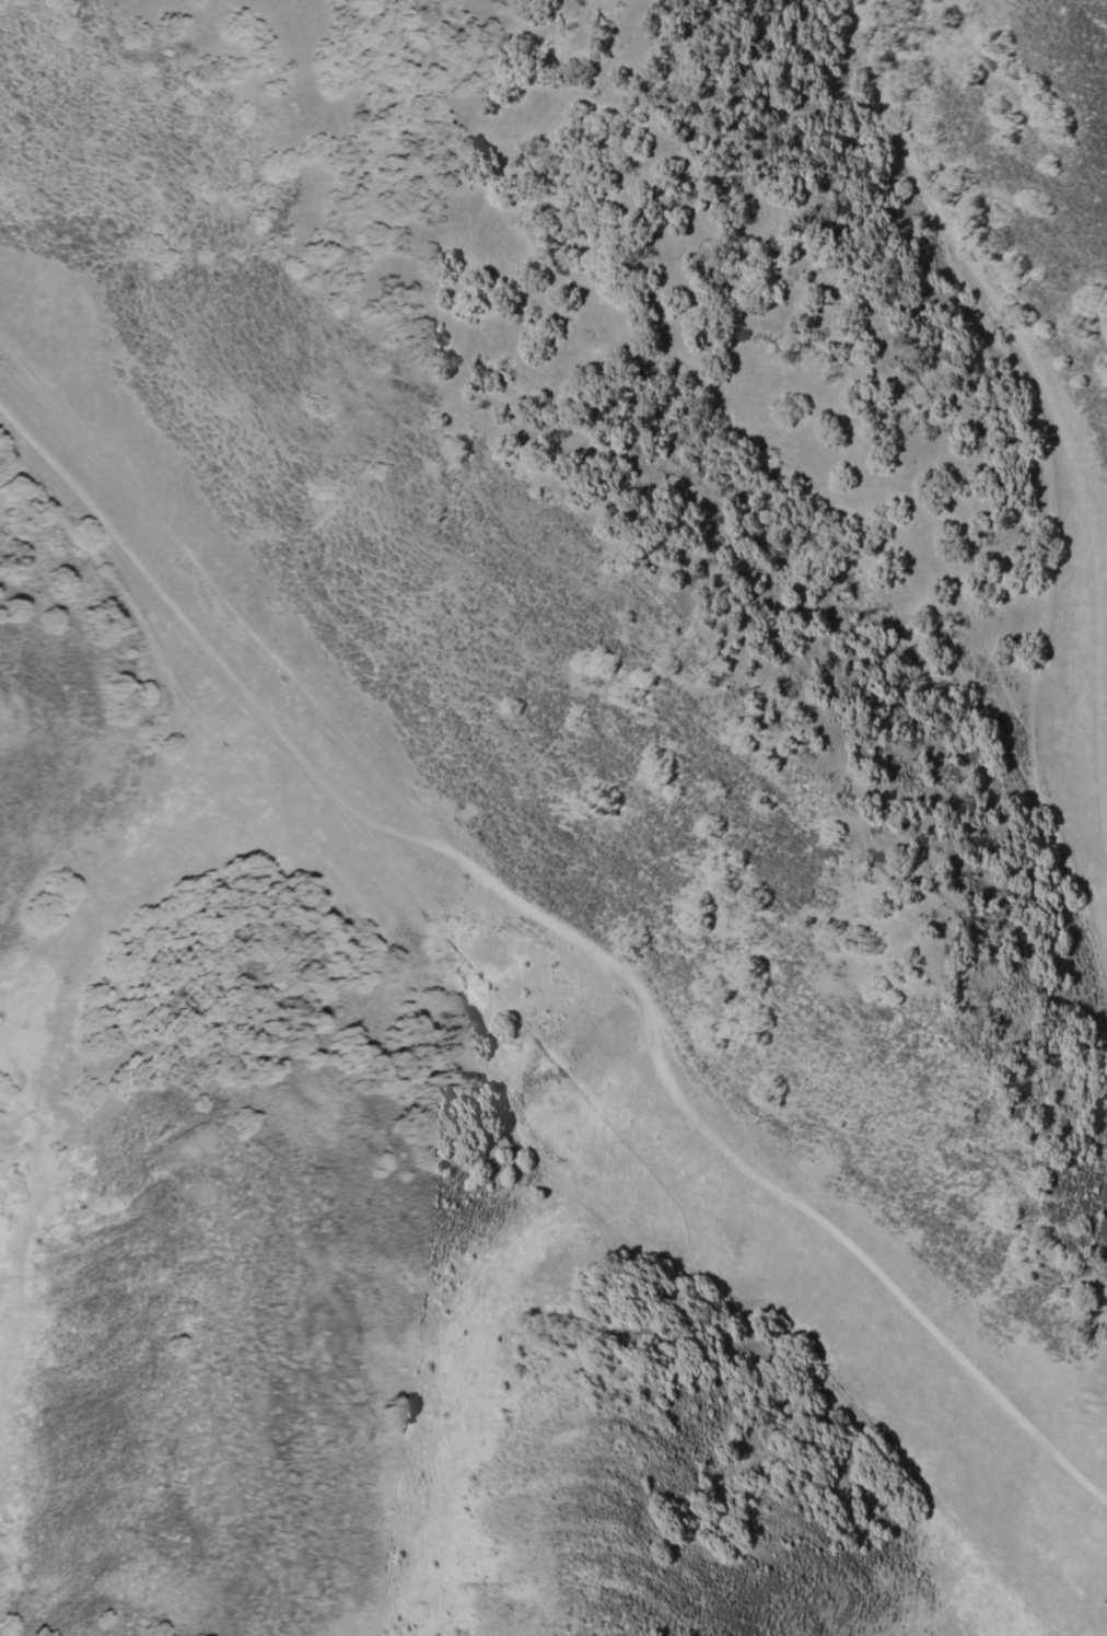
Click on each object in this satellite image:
road: (573, 929)

